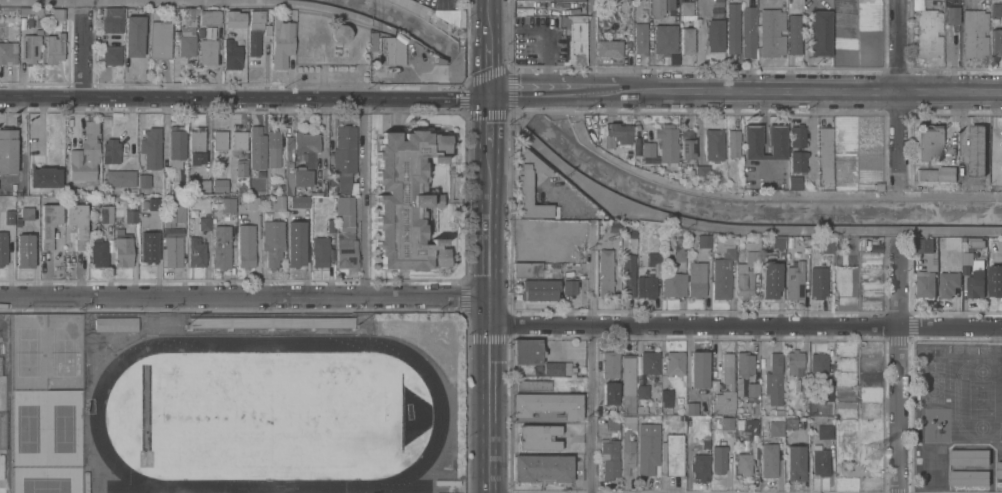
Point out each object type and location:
building: (661, 7)
building: (32, 9)
building: (687, 9)
building: (997, 9)
building: (188, 12)
building: (58, 13)
building: (951, 15)
building: (209, 16)
building: (453, 17)
building: (112, 19)
building: (236, 20)
building: (39, 22)
building: (733, 27)
building: (267, 29)
building: (39, 31)
building: (209, 31)
building: (749, 31)
building: (200, 32)
building: (254, 32)
building: (340, 32)
storage tank: (340, 32)
building: (772, 32)
building: (928, 32)
building: (820, 33)
building: (975, 33)
building: (133, 34)
building: (714, 35)
building: (794, 36)
building: (640, 38)
building: (159, 39)
building: (666, 39)
building: (186, 40)
building: (686, 40)
building: (576, 41)
building: (996, 41)
building: (281, 42)
building: (30, 47)
building: (54, 48)
road: (489, 48)
building: (609, 48)
road: (591, 49)
building: (207, 50)
building: (231, 52)
building: (7, 54)
road: (86, 54)
building: (389, 54)
building: (112, 55)
road: (898, 93)
road: (745, 96)
road: (244, 97)
road: (809, 130)
building: (616, 134)
building: (796, 135)
building: (219, 138)
building: (238, 139)
building: (751, 142)
building: (775, 142)
building: (927, 142)
building: (176, 143)
building: (667, 143)
building: (687, 143)
building: (732, 143)
building: (714, 144)
building: (196, 146)
building: (151, 147)
building: (257, 147)
building: (273, 147)
building: (647, 148)
building: (345, 149)
building: (977, 149)
building: (8, 150)
building: (111, 151)
building: (825, 152)
building: (85, 154)
building: (299, 159)
building: (797, 160)
building: (241, 167)
building: (701, 171)
building: (686, 173)
building: (937, 173)
building: (45, 176)
building: (120, 177)
building: (144, 180)
building: (792, 183)
building: (344, 184)
building: (203, 185)
building: (220, 185)
building: (281, 189)
building: (525, 189)
road: (712, 191)
building: (316, 192)
road: (945, 196)
road: (363, 198)
road: (489, 199)
building: (407, 201)
building: (252, 203)
building: (299, 203)
building: (228, 204)
building: (277, 204)
building: (173, 212)
building: (106, 213)
building: (25, 214)
building: (131, 214)
building: (9, 218)
building: (49, 223)
building: (78, 223)
building: (204, 223)
building: (330, 225)
building: (681, 231)
building: (703, 240)
building: (273, 241)
building: (346, 242)
building: (776, 242)
building: (835, 242)
building: (976, 242)
building: (295, 244)
building: (1000, 244)
building: (246, 245)
building: (826, 245)
building: (925, 245)
building: (148, 246)
building: (221, 246)
building: (3, 248)
building: (123, 248)
building: (804, 248)
building: (679, 249)
building: (25, 250)
building: (173, 251)
building: (196, 251)
building: (320, 251)
building: (99, 253)
building: (653, 259)
building: (722, 267)
building: (527, 270)
building: (605, 273)
building: (628, 273)
building: (745, 275)
building: (974, 275)
building: (696, 279)
building: (769, 279)
building: (995, 280)
building: (794, 281)
building: (818, 282)
building: (948, 283)
building: (673, 284)
building: (925, 284)
building: (647, 286)
building: (569, 287)
building: (539, 289)
road: (244, 300)
road: (490, 314)
building: (327, 322)
building: (116, 324)
road: (746, 329)
building: (527, 352)
building: (1001, 353)
road: (592, 359)
building: (650, 360)
building: (794, 361)
building: (745, 362)
building: (674, 363)
building: (819, 363)
building: (610, 364)
building: (556, 369)
building: (699, 369)
building: (727, 369)
road: (899, 369)
building: (844, 370)
building: (609, 379)
building: (774, 380)
building: (628, 384)
building: (532, 385)
building: (714, 385)
building: (787, 387)
building: (753, 389)
building: (643, 391)
building: (610, 393)
building: (666, 394)
building: (827, 394)
building: (724, 402)
building: (548, 404)
building: (691, 408)
building: (642, 409)
road: (489, 410)
building: (778, 411)
track: (438, 414)
park: (268, 416)
building: (626, 420)
building: (612, 423)
building: (725, 423)
building: (791, 423)
building: (748, 425)
building: (776, 428)
building: (824, 431)
building: (539, 437)
building: (705, 443)
building: (628, 451)
building: (647, 452)
building: (674, 454)
building: (969, 456)
building: (610, 458)
building: (719, 459)
building: (769, 460)
building: (820, 460)
building: (795, 462)
building: (744, 463)
building: (700, 466)
building: (543, 467)
building: (999, 468)
building: (969, 477)

